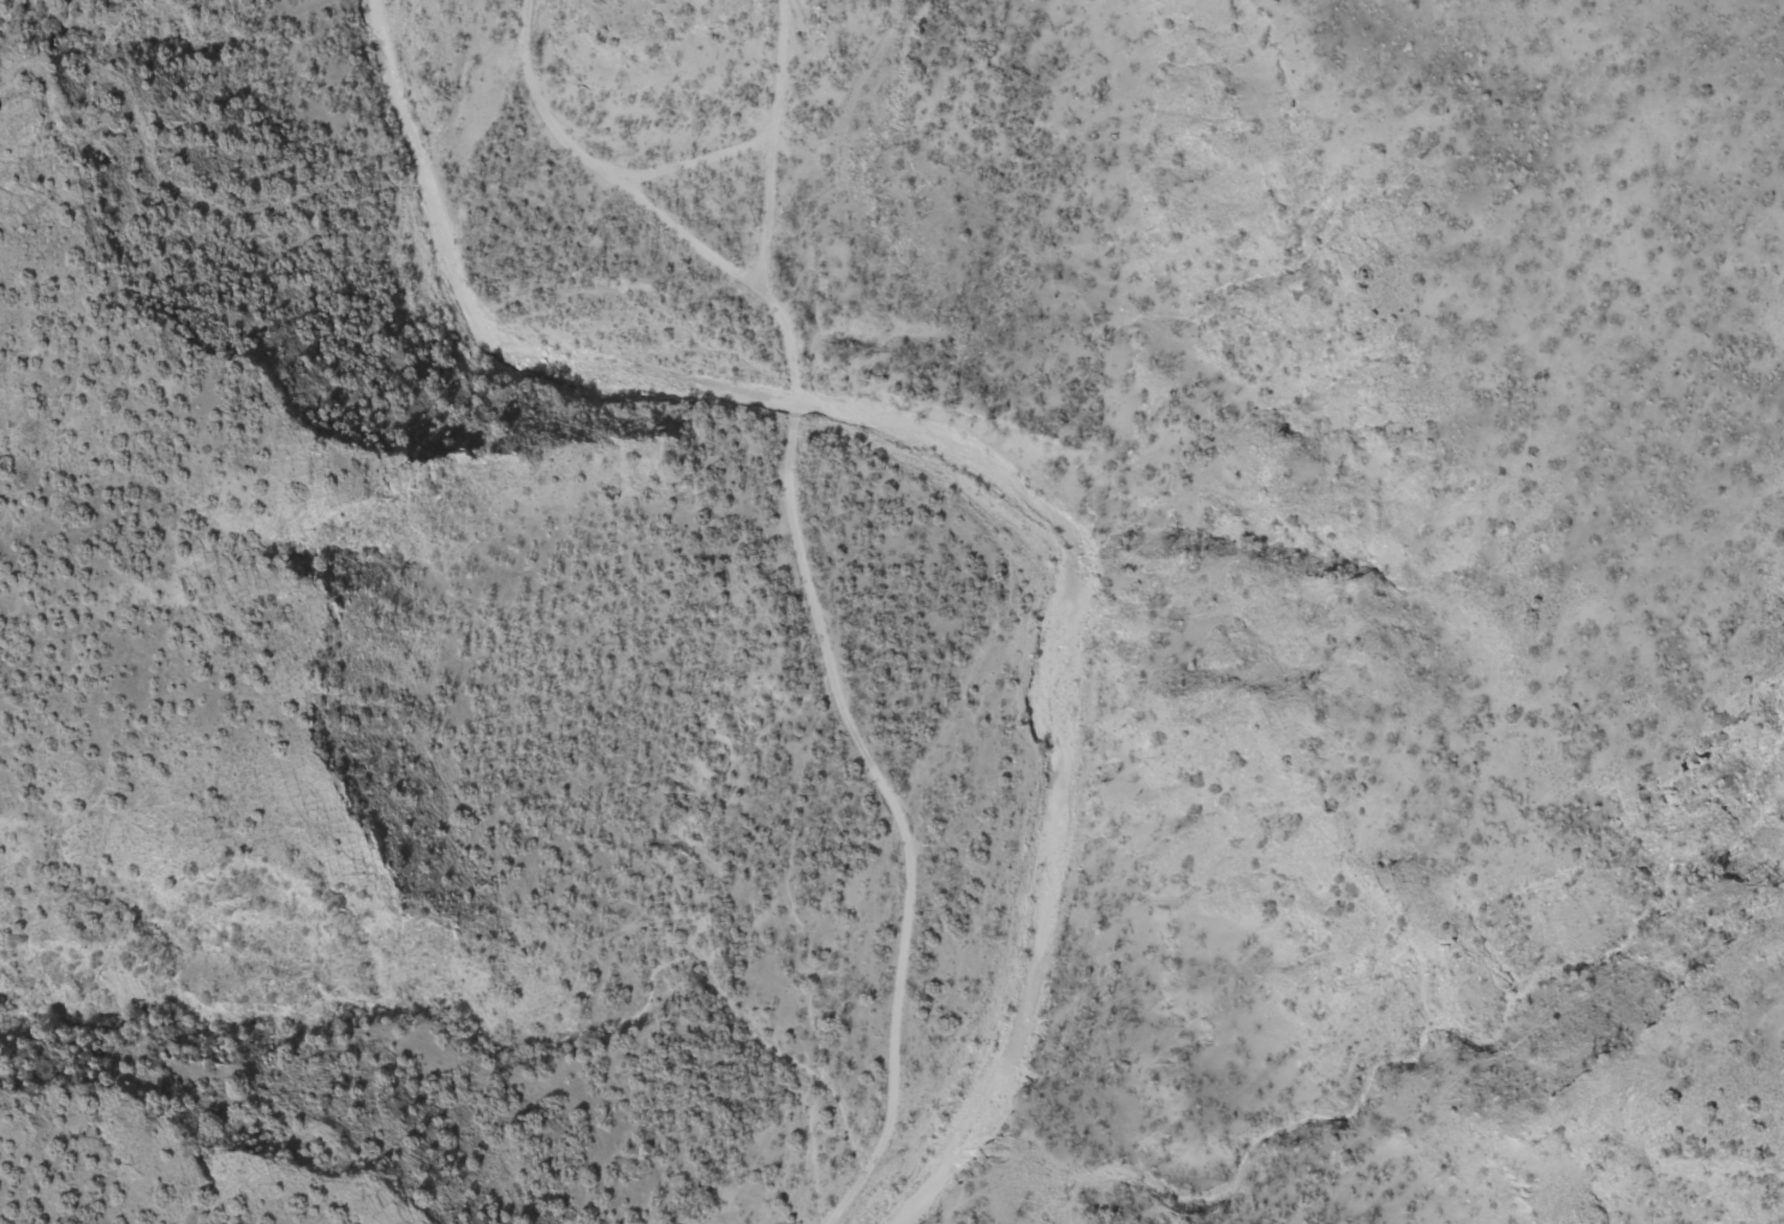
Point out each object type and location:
road: (523, 298)
road: (778, 575)

